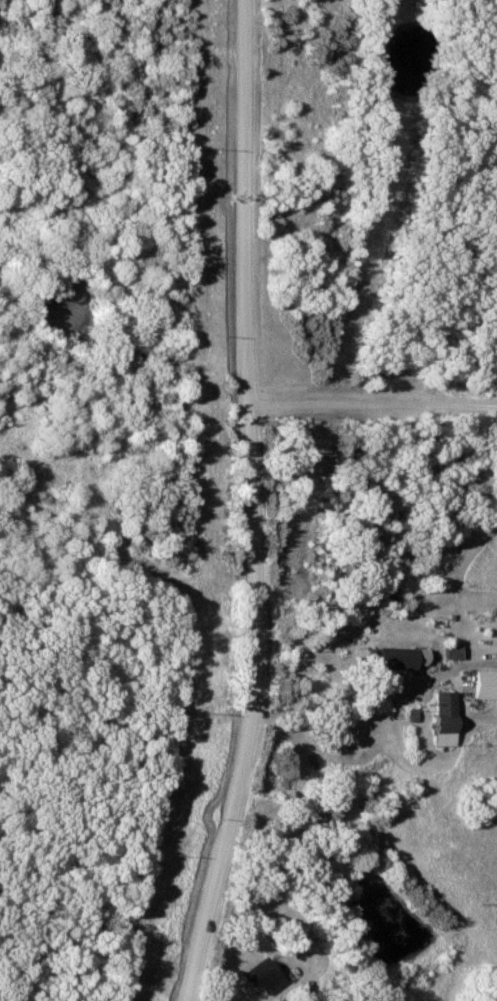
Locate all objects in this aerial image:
road: (371, 404)
road: (248, 504)
park: (333, 549)
building: (448, 651)
building: (388, 658)
building: (482, 686)
building: (439, 718)
building: (260, 978)

